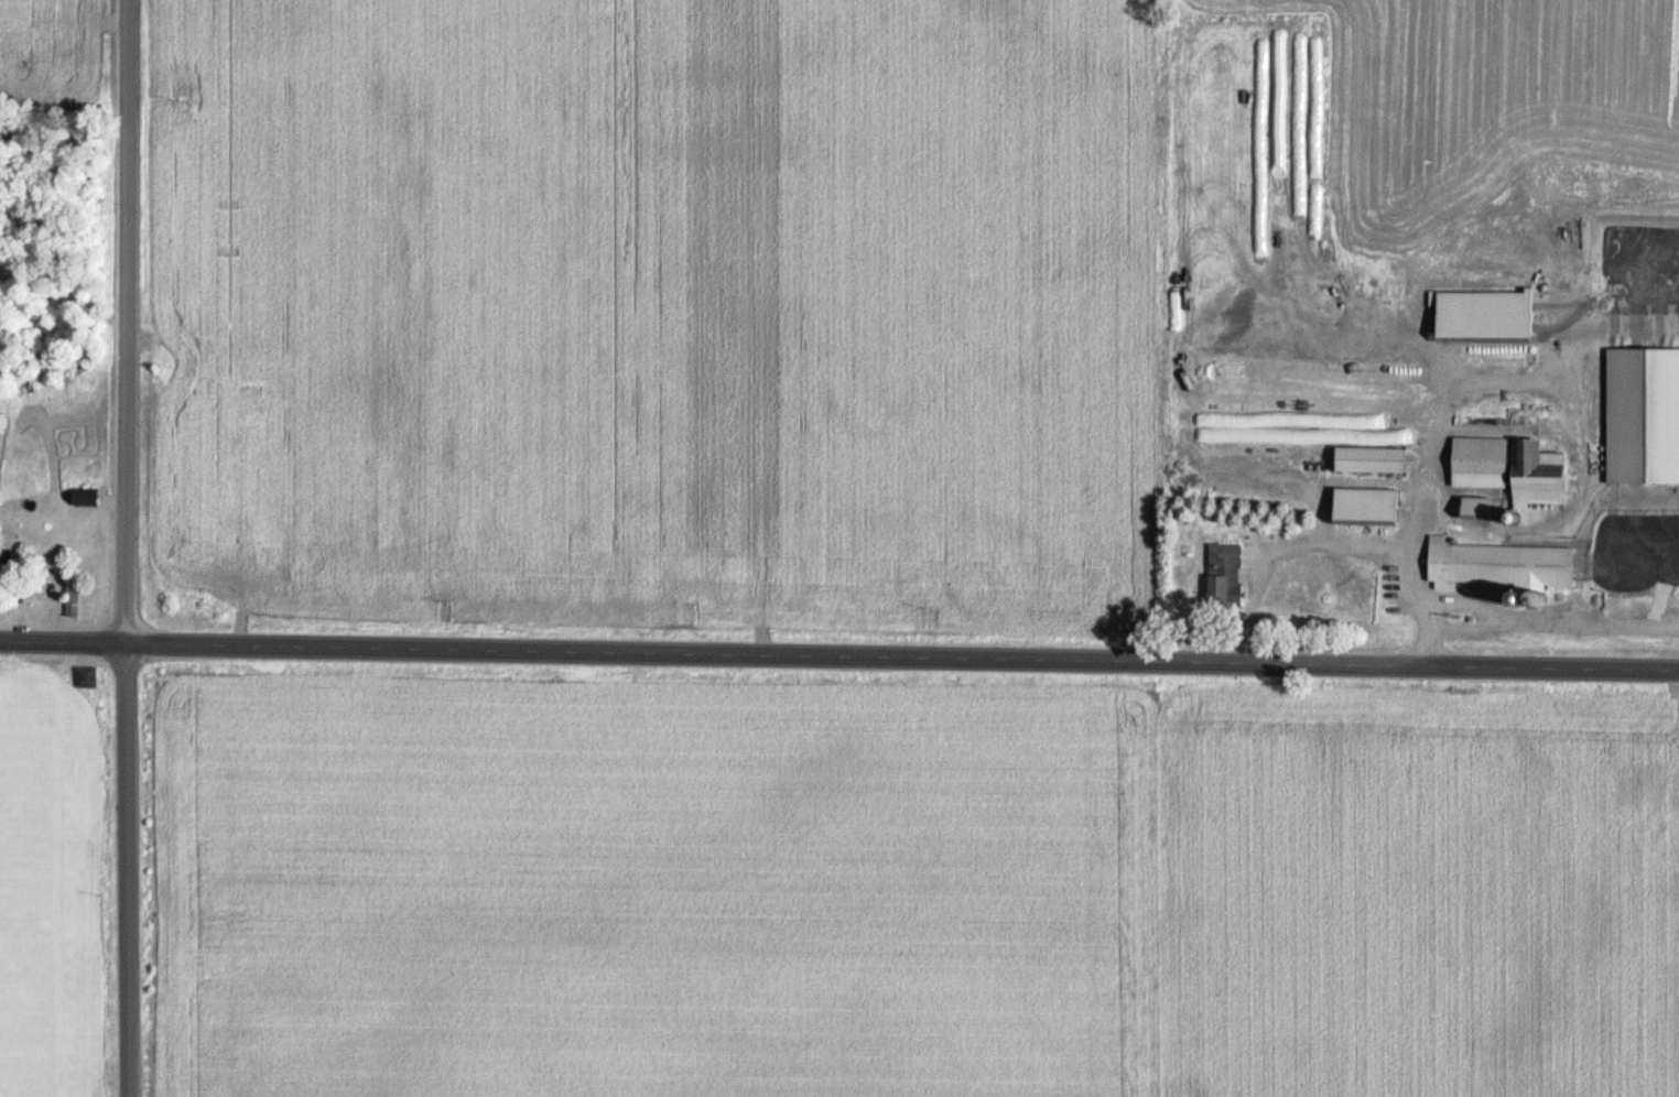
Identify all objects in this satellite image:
building: (1499, 315)
building: (1643, 417)
building: (1367, 460)
building: (1507, 469)
building: (83, 496)
building: (1363, 506)
building: (1473, 507)
road: (126, 548)
building: (1498, 566)
building: (1222, 575)
building: (68, 594)
road: (838, 654)
building: (84, 676)

